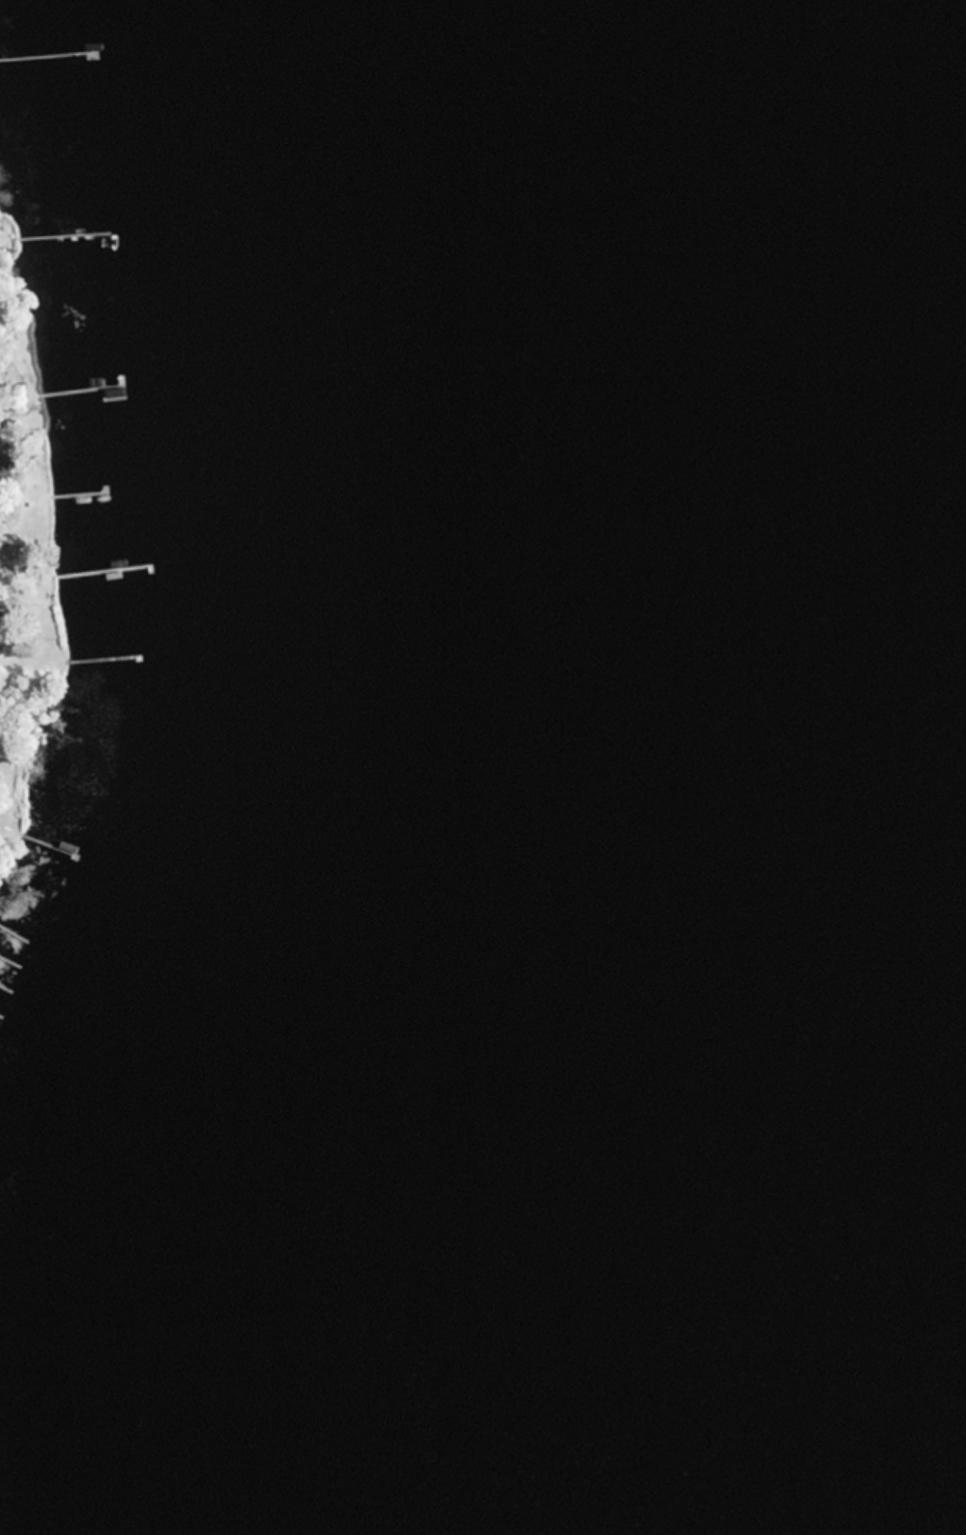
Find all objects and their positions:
building: (6, 473)
building: (2, 631)
river: (648, 1251)

